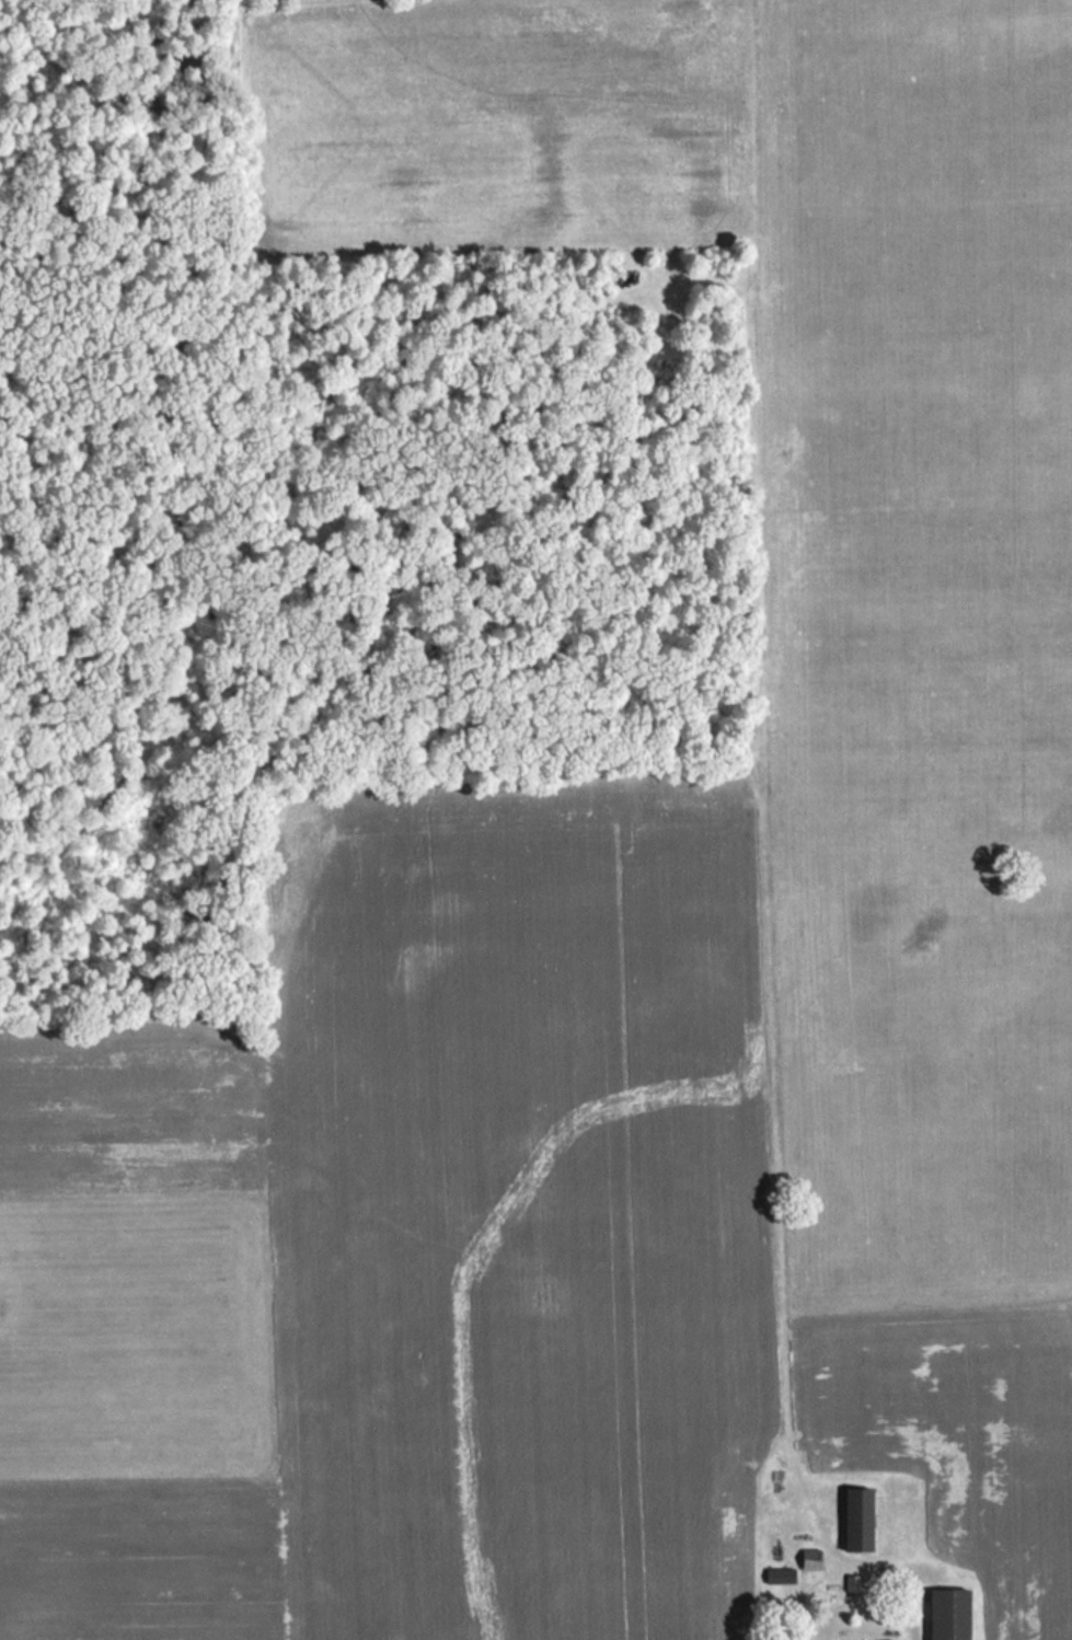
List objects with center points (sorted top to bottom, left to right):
building: (862, 1517)
building: (815, 1563)
building: (783, 1575)
building: (955, 1614)
road: (914, 1620)

